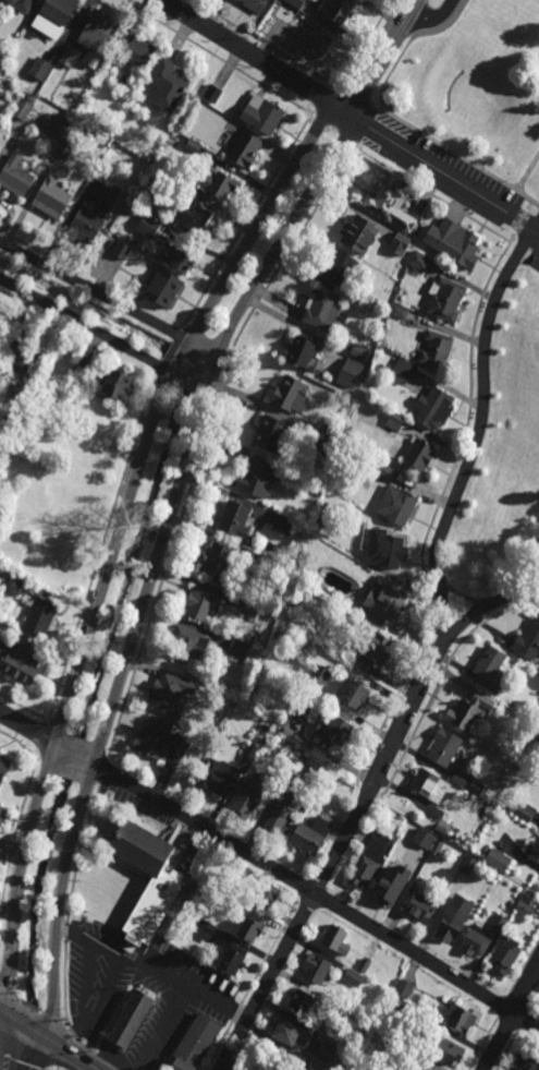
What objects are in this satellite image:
building: (296, 3)
building: (22, 4)
building: (254, 5)
building: (59, 11)
building: (334, 11)
road: (488, 13)
building: (0, 14)
road: (432, 16)
building: (47, 28)
road: (523, 31)
building: (97, 37)
road: (413, 40)
road: (264, 44)
building: (316, 44)
road: (364, 44)
building: (136, 53)
road: (256, 56)
road: (381, 57)
building: (69, 58)
road: (217, 58)
building: (39, 70)
building: (122, 81)
building: (168, 86)
building: (212, 93)
road: (356, 95)
road: (324, 101)
building: (23, 107)
building: (261, 111)
road: (367, 125)
building: (57, 127)
road: (334, 130)
building: (154, 145)
building: (192, 145)
building: (66, 147)
building: (245, 147)
road: (455, 154)
road: (443, 173)
road: (528, 175)
building: (16, 176)
parking lot: (473, 178)
building: (217, 182)
road: (433, 194)
building: (52, 197)
building: (385, 201)
building: (196, 215)
building: (91, 219)
road: (261, 220)
building: (407, 221)
road: (523, 223)
road: (247, 224)
building: (149, 225)
building: (358, 232)
building: (454, 241)
building: (400, 243)
building: (121, 249)
building: (182, 257)
road: (54, 260)
building: (419, 260)
parking lot: (528, 261)
building: (339, 266)
building: (166, 287)
road: (108, 293)
building: (353, 296)
road: (109, 299)
building: (446, 299)
road: (29, 308)
building: (322, 310)
building: (400, 311)
road: (61, 320)
road: (103, 337)
building: (437, 348)
building: (359, 351)
road: (169, 352)
building: (303, 352)
building: (19, 354)
road: (180, 357)
building: (403, 371)
building: (350, 373)
building: (77, 374)
building: (118, 383)
building: (291, 395)
building: (434, 408)
building: (396, 421)
building: (334, 432)
road: (478, 433)
building: (271, 434)
road: (205, 440)
building: (326, 448)
building: (421, 455)
building: (387, 471)
building: (257, 477)
building: (319, 488)
building: (396, 505)
road: (434, 517)
building: (236, 520)
building: (318, 520)
building: (284, 525)
road: (101, 548)
building: (387, 549)
building: (220, 561)
building: (46, 563)
building: (264, 563)
road: (156, 564)
building: (15, 587)
building: (296, 593)
road: (494, 598)
building: (203, 602)
building: (384, 605)
building: (252, 609)
building: (267, 613)
building: (38, 617)
building: (528, 642)
building: (189, 645)
building: (238, 648)
building: (375, 651)
building: (21, 663)
building: (490, 669)
road: (445, 672)
building: (320, 675)
road: (70, 689)
building: (171, 694)
building: (355, 697)
building: (233, 704)
road: (24, 708)
building: (306, 708)
building: (469, 713)
road: (57, 726)
road: (30, 730)
building: (334, 733)
road: (41, 738)
road: (76, 740)
building: (159, 742)
building: (538, 742)
road: (19, 744)
building: (261, 745)
building: (444, 748)
road: (97, 752)
road: (74, 753)
building: (252, 753)
road: (47, 759)
road: (70, 768)
building: (3, 769)
road: (105, 769)
building: (295, 774)
road: (91, 776)
building: (219, 776)
building: (461, 778)
building: (430, 785)
road: (369, 790)
building: (252, 794)
building: (492, 801)
building: (1, 808)
building: (285, 808)
building: (524, 809)
building: (441, 828)
building: (310, 833)
road: (335, 833)
road: (13, 838)
building: (422, 839)
building: (535, 847)
building: (442, 850)
road: (335, 857)
building: (498, 858)
building: (369, 859)
building: (470, 865)
building: (194, 883)
road: (302, 887)
building: (389, 887)
road: (314, 892)
building: (452, 893)
building: (188, 894)
building: (267, 894)
road: (70, 903)
building: (420, 905)
building: (525, 906)
building: (152, 907)
building: (499, 921)
building: (450, 924)
building: (252, 927)
building: (206, 929)
building: (334, 936)
building: (477, 940)
road: (89, 943)
building: (505, 954)
building: (231, 957)
building: (364, 964)
building: (317, 967)
road: (522, 970)
building: (353, 977)
road: (253, 983)
road: (185, 986)
building: (404, 988)
building: (302, 1000)
road: (534, 1001)
road: (96, 1008)
building: (330, 1008)
road: (502, 1008)
road: (36, 1010)
road: (3, 1013)
traffic signals: (7, 1015)
building: (462, 1017)
building: (132, 1019)
road: (511, 1019)
road: (522, 1021)
road: (161, 1027)
road: (29, 1031)
building: (289, 1032)
road: (7, 1043)
building: (197, 1043)
road: (482, 1043)
building: (399, 1044)
traffic signals: (53, 1046)
building: (443, 1047)
road: (106, 1050)
road: (506, 1051)
building: (328, 1055)
road: (36, 1056)
road: (22, 1057)
road: (73, 1057)
building: (528, 1059)
building: (419, 1067)

